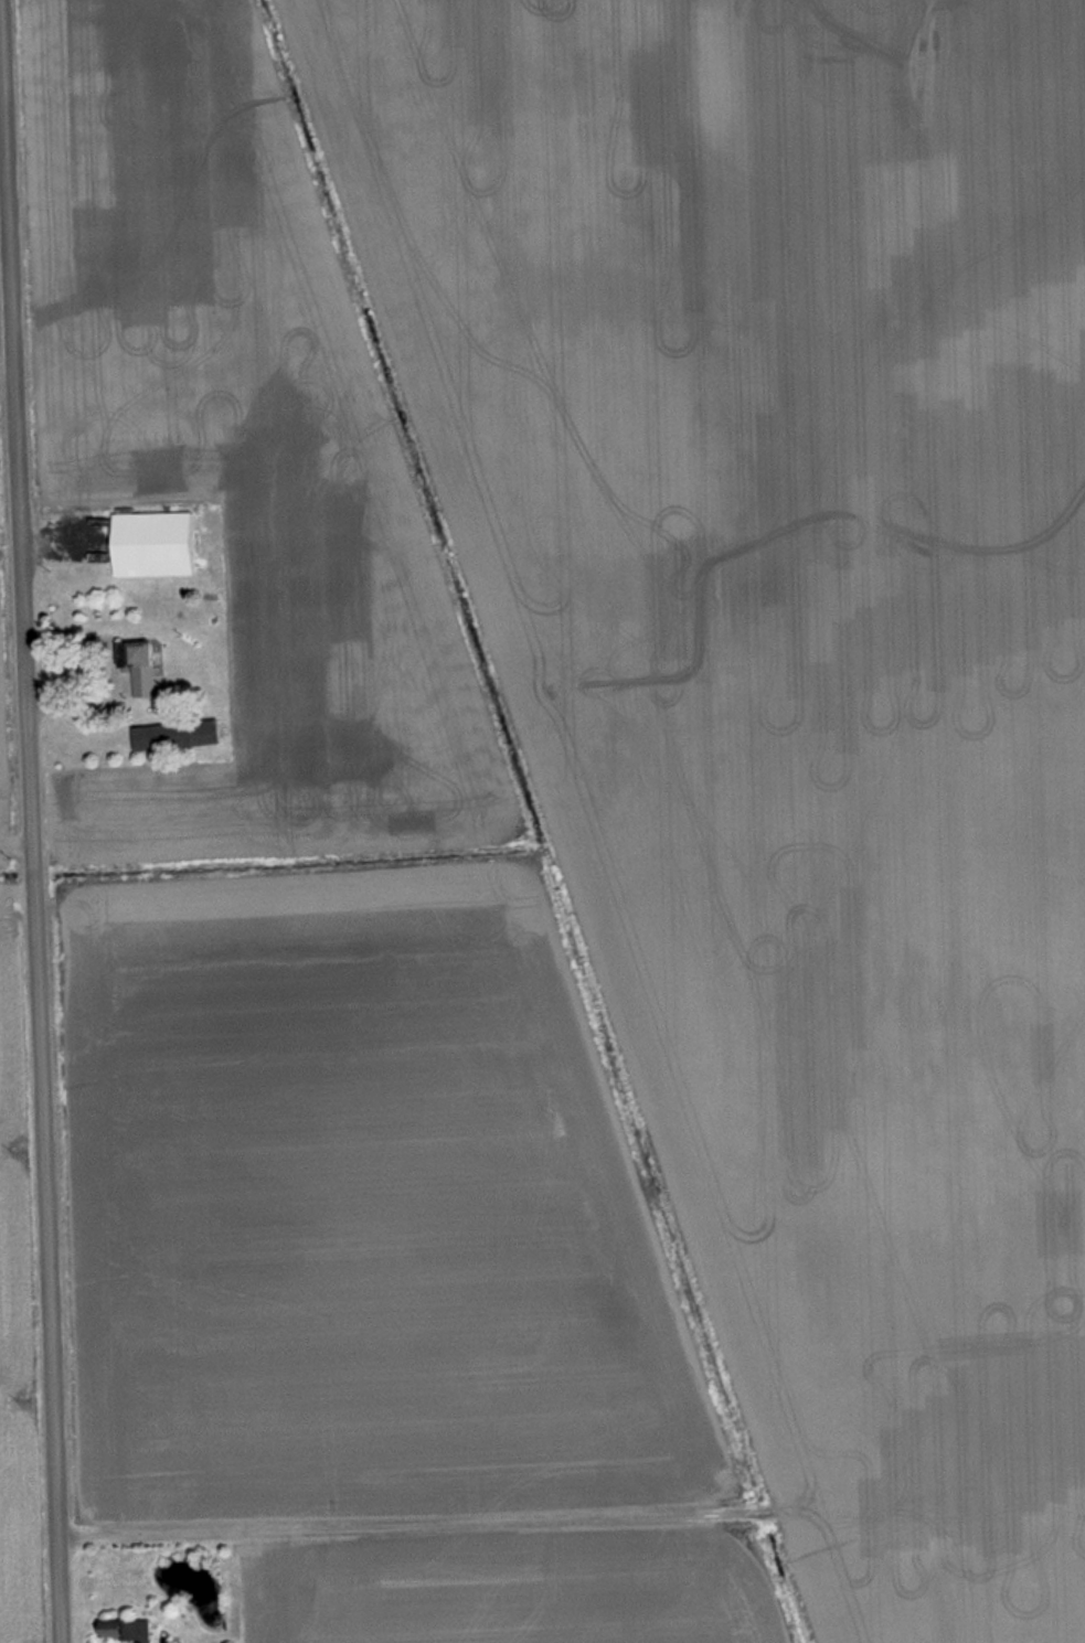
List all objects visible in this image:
building: (159, 545)
building: (136, 671)
building: (182, 737)
road: (30, 883)
building: (129, 1631)

